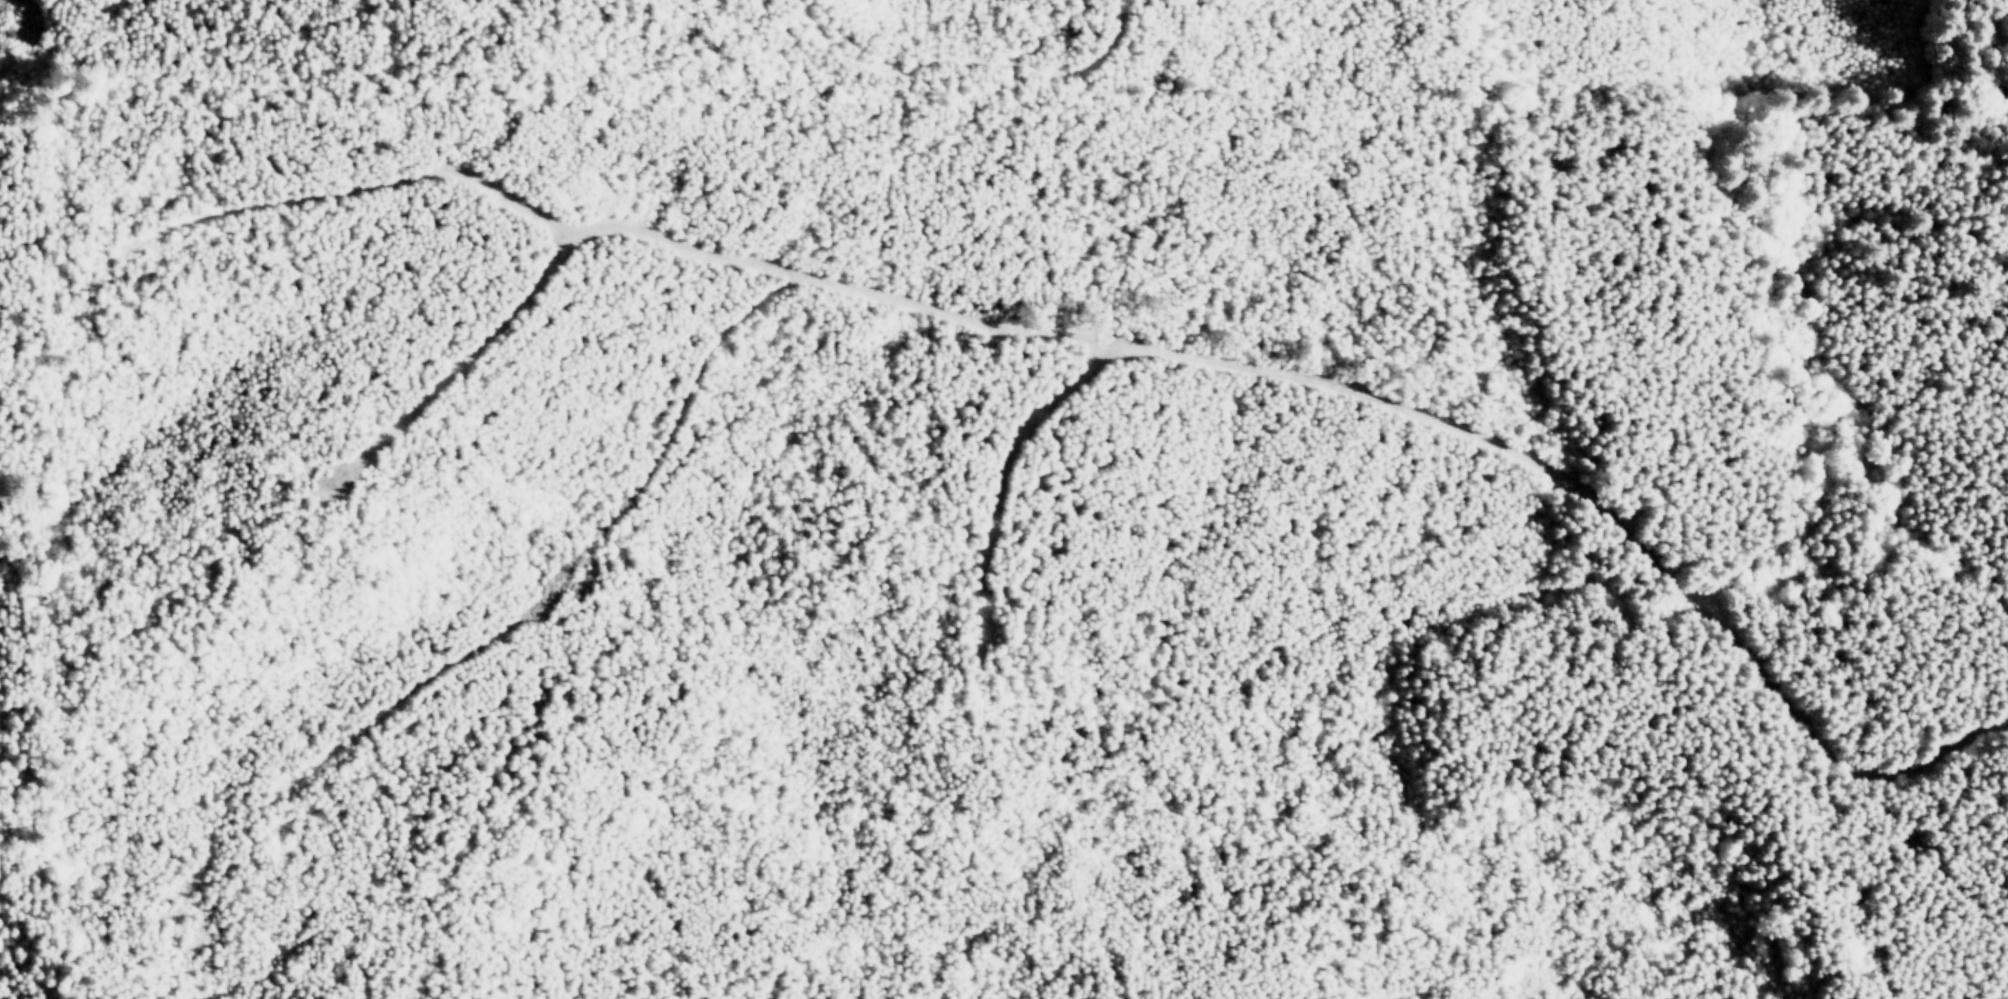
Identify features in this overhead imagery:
road: (1944, 749)

